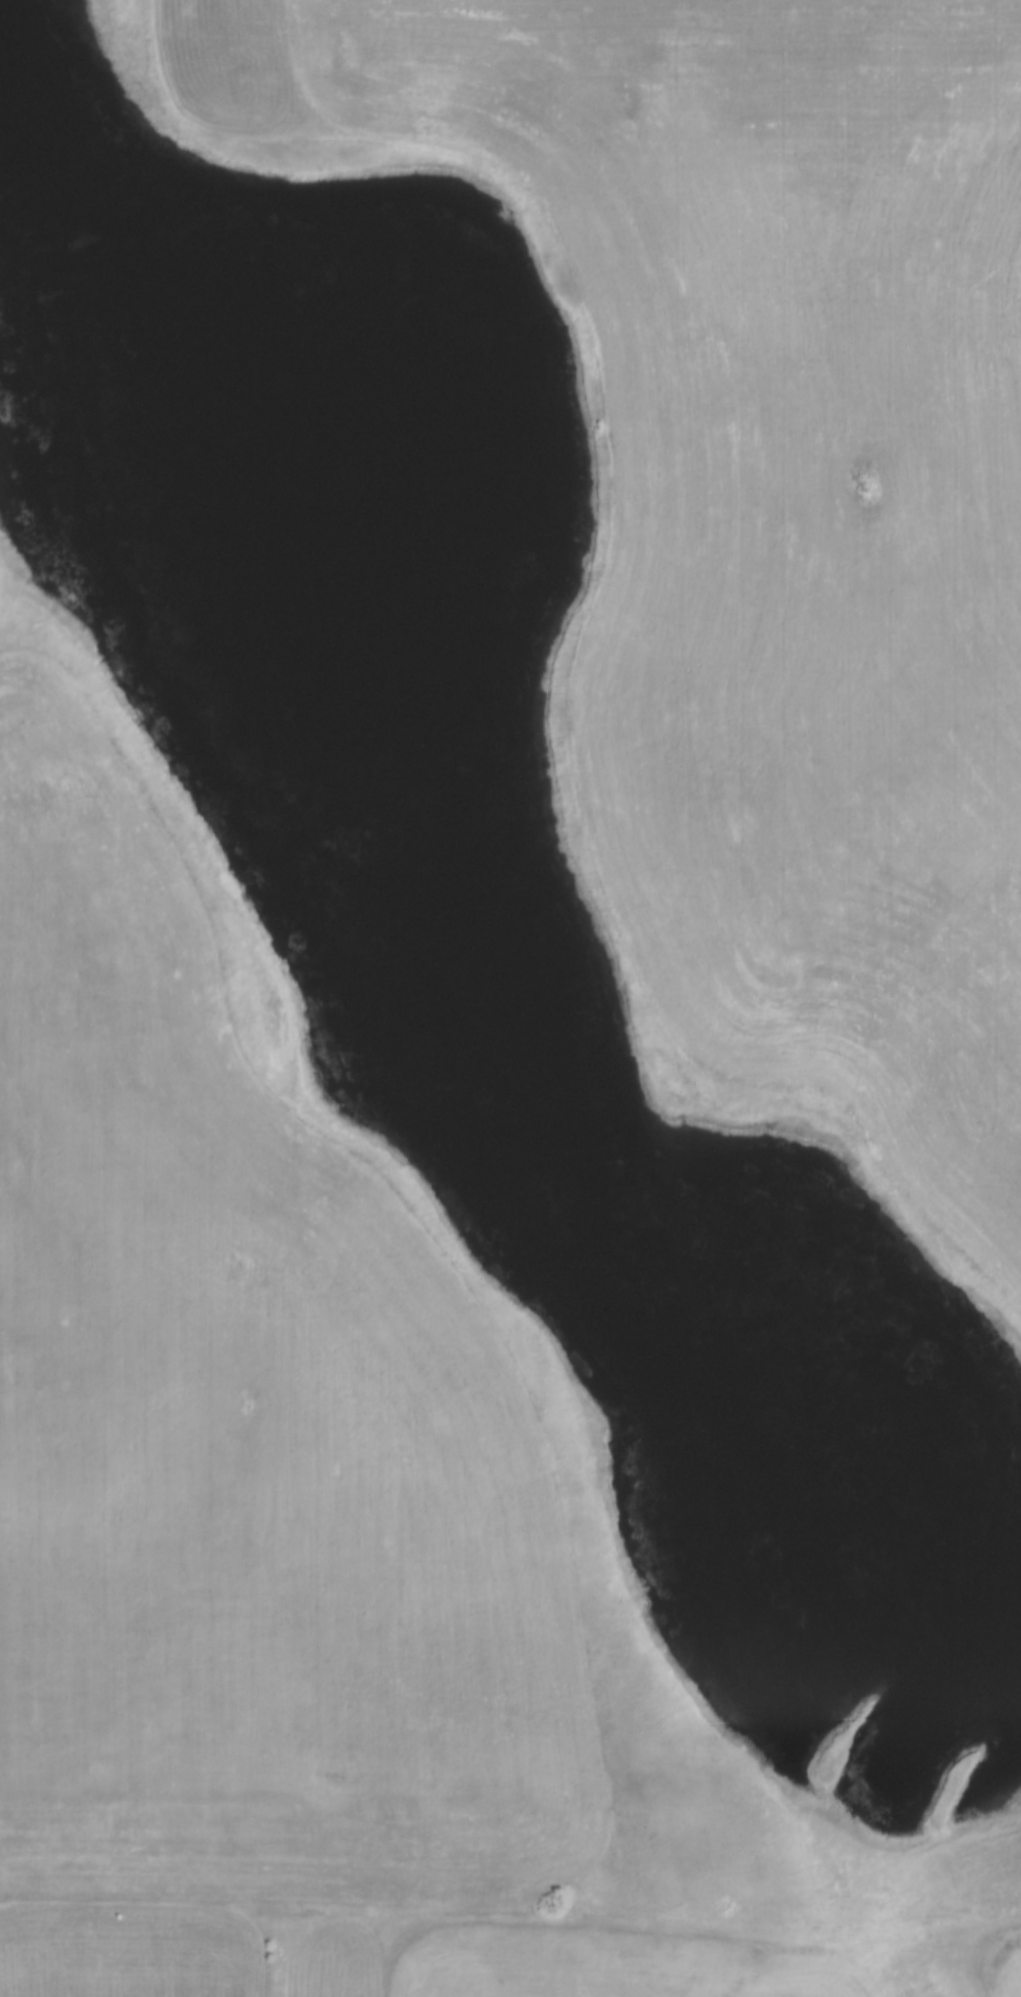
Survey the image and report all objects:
crop: (999, 1958)
crop: (599, 1961)

